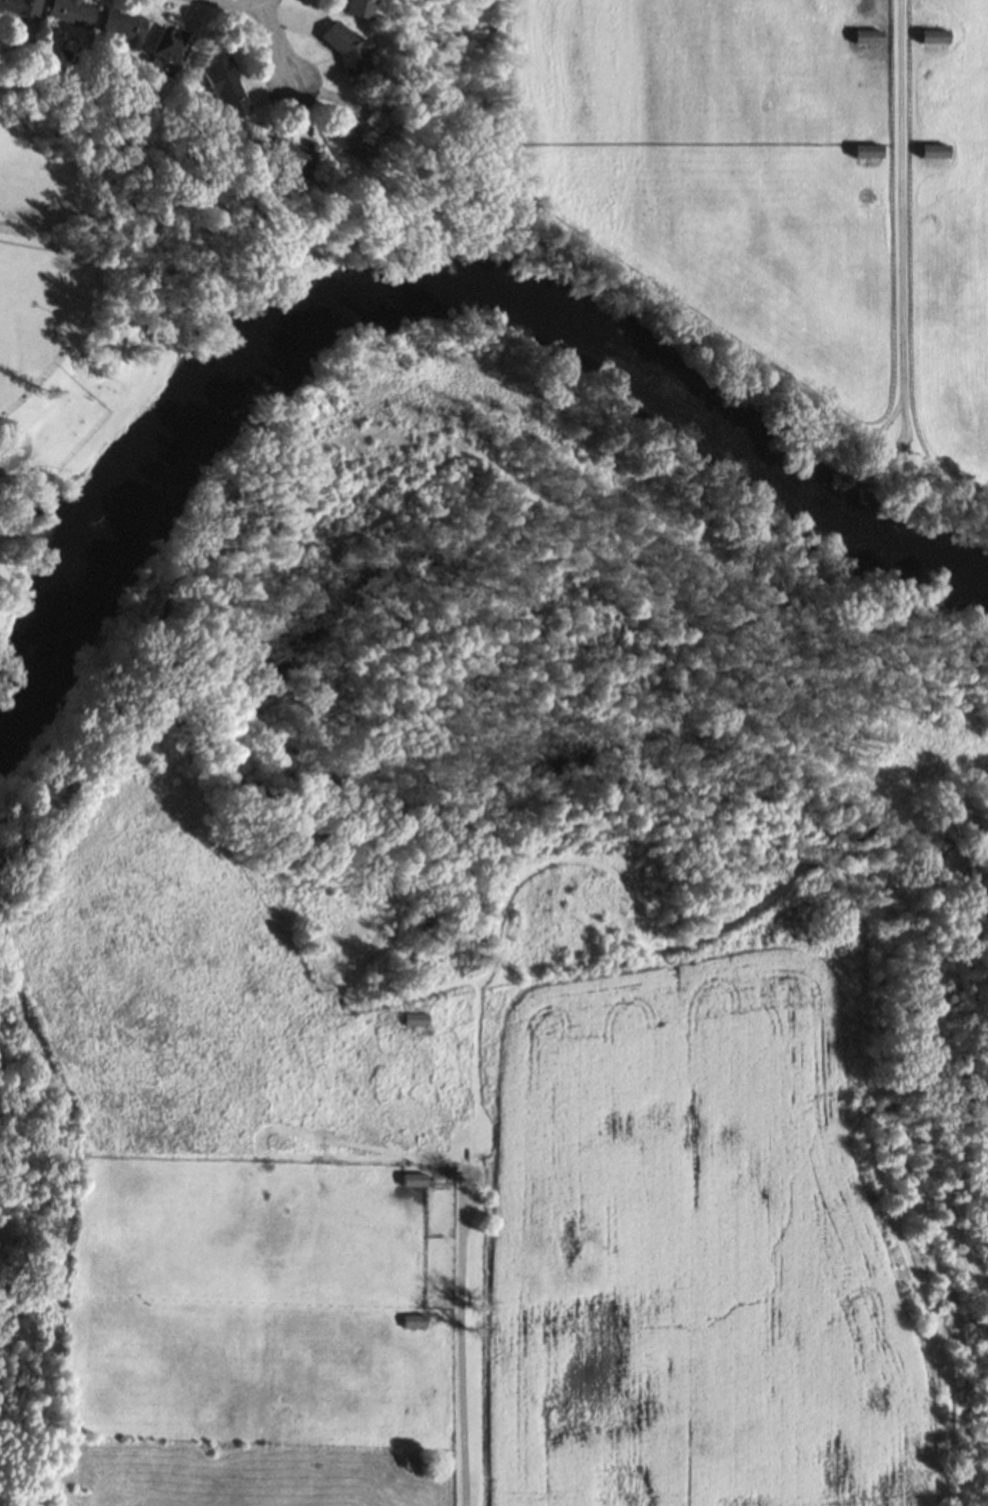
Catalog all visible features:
building: (21, 7)
building: (361, 8)
building: (72, 11)
building: (125, 26)
building: (935, 35)
building: (869, 36)
road: (275, 41)
building: (171, 45)
building: (349, 51)
building: (226, 88)
building: (351, 137)
building: (935, 150)
building: (869, 151)
building: (284, 155)
crop: (780, 206)
river: (423, 289)
park: (80, 292)
building: (415, 1019)
building: (415, 1179)
crop: (441, 1198)
building: (415, 1321)

